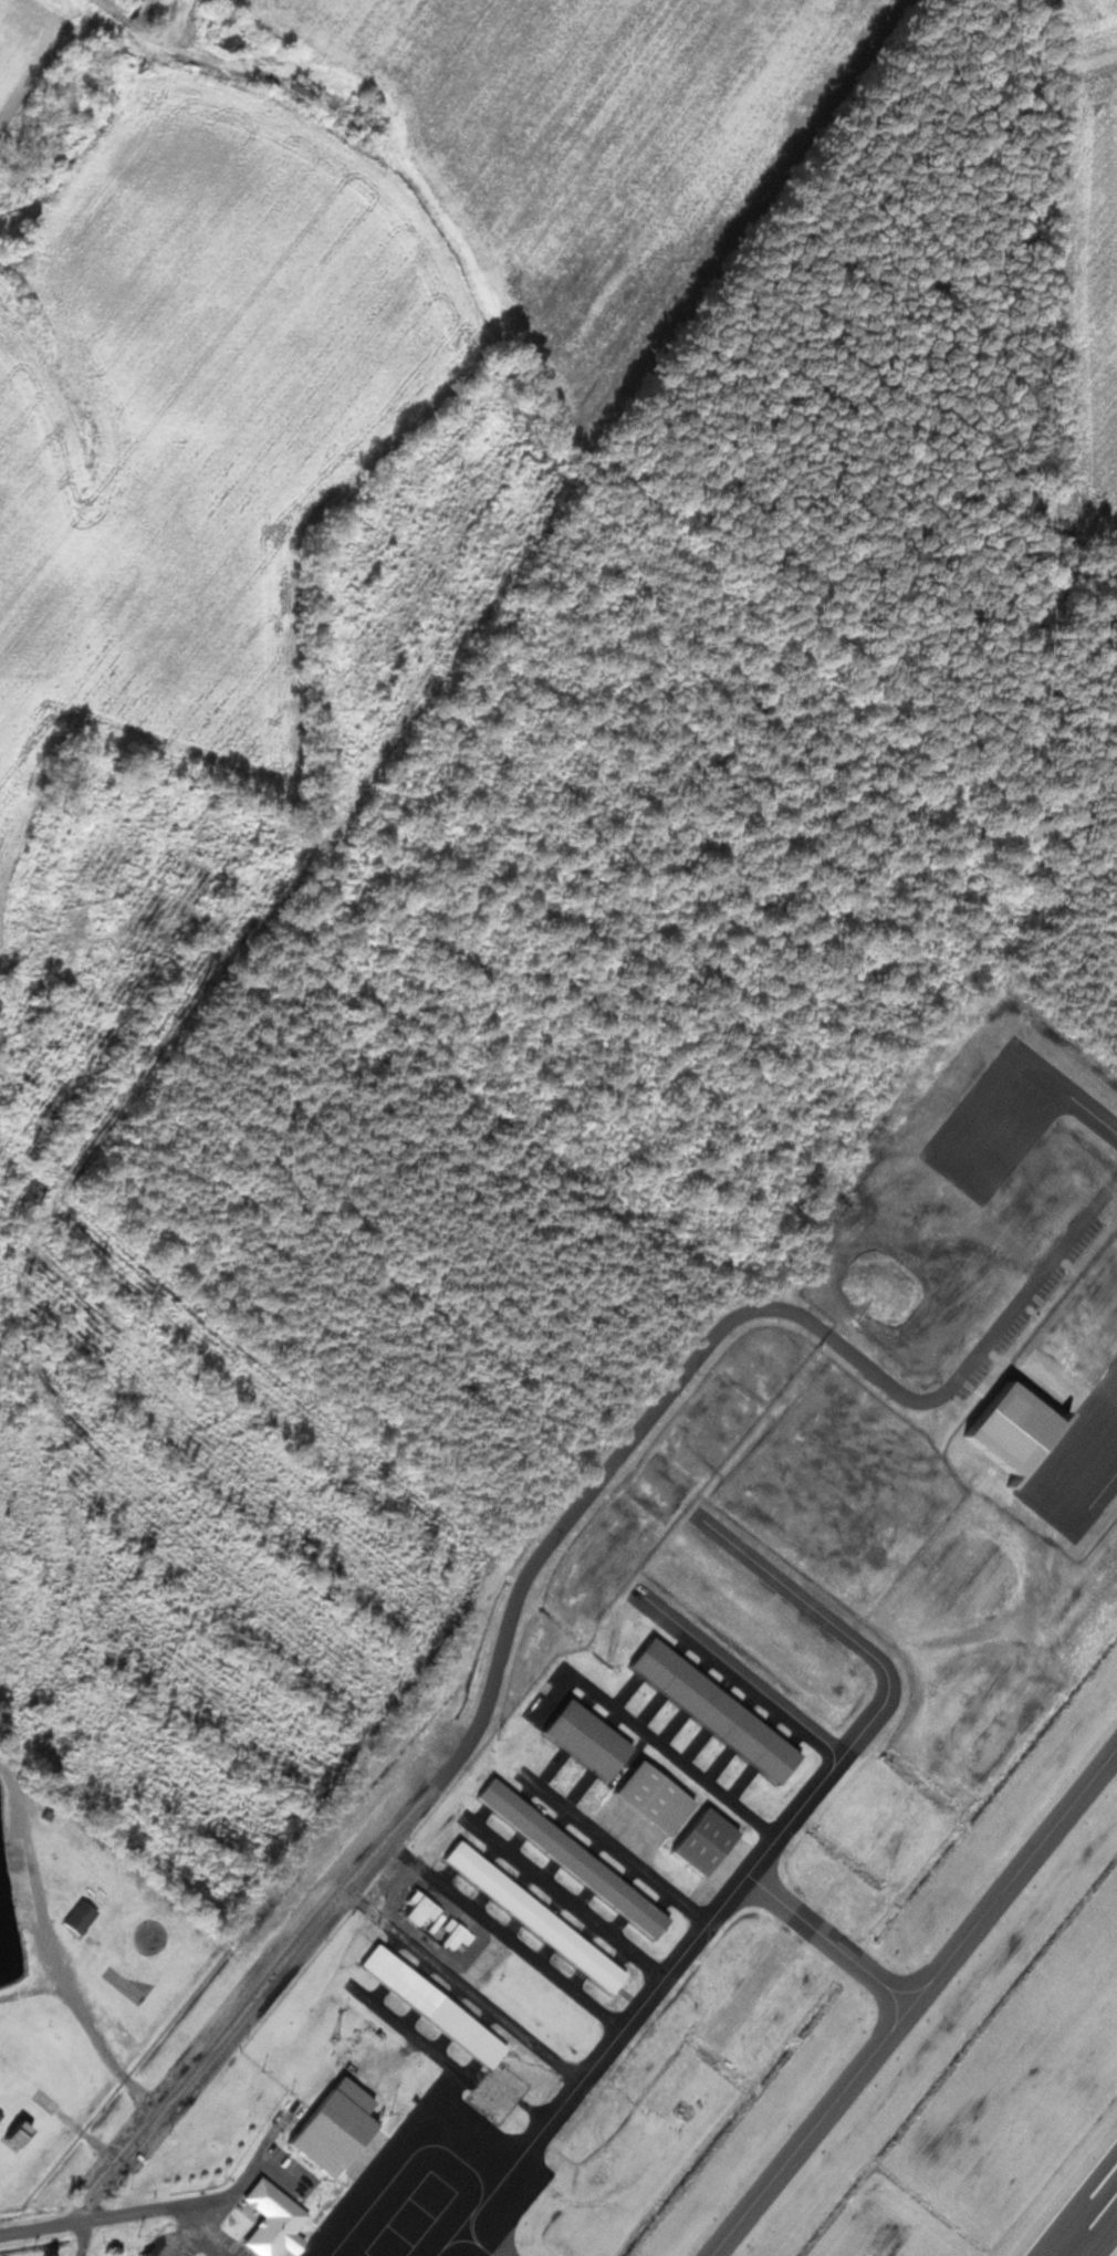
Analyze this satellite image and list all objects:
building: (232, 40)
building: (307, 88)
building: (721, 1710)
building: (593, 1740)
airport taxiway: (677, 1757)
building: (660, 1797)
building: (710, 1841)
airport taxiway: (615, 1847)
building: (578, 1858)
airport taxiway: (564, 1895)
building: (429, 1912)
building: (85, 1916)
building: (540, 1916)
building: (457, 1934)
airport taxiway: (831, 1940)
airport taxiway: (690, 1947)
airport taxiway: (526, 1951)
airport: (692, 1997)
airport taxiway: (915, 2003)
airport taxiway: (486, 2004)
building: (439, 2005)
road: (230, 2032)
building: (46, 2100)
airport hangar: (337, 2129)
building: (337, 2129)
building: (23, 2133)
airport apron: (436, 2186)
road: (155, 2210)
airport terminal: (278, 2218)
building: (278, 2218)
airport runway: (1094, 2227)

